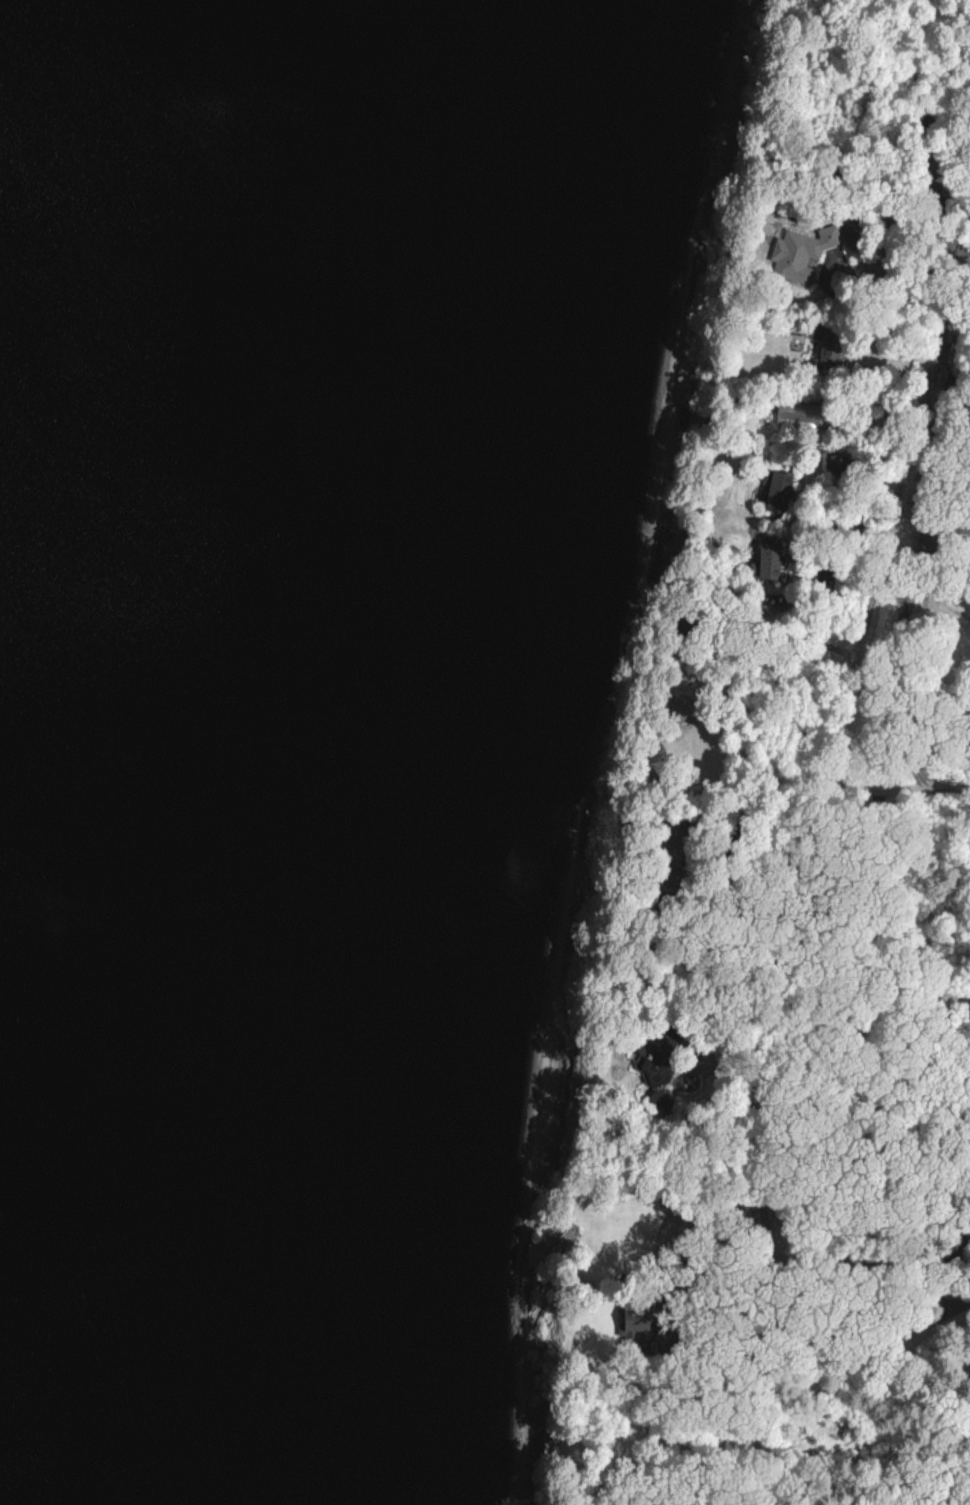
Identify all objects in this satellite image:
building: (798, 251)
road: (849, 257)
road: (929, 281)
building: (773, 489)
road: (899, 544)
building: (764, 564)
road: (830, 859)
road: (910, 1008)
road: (705, 1059)
road: (655, 1266)
road: (732, 1339)

